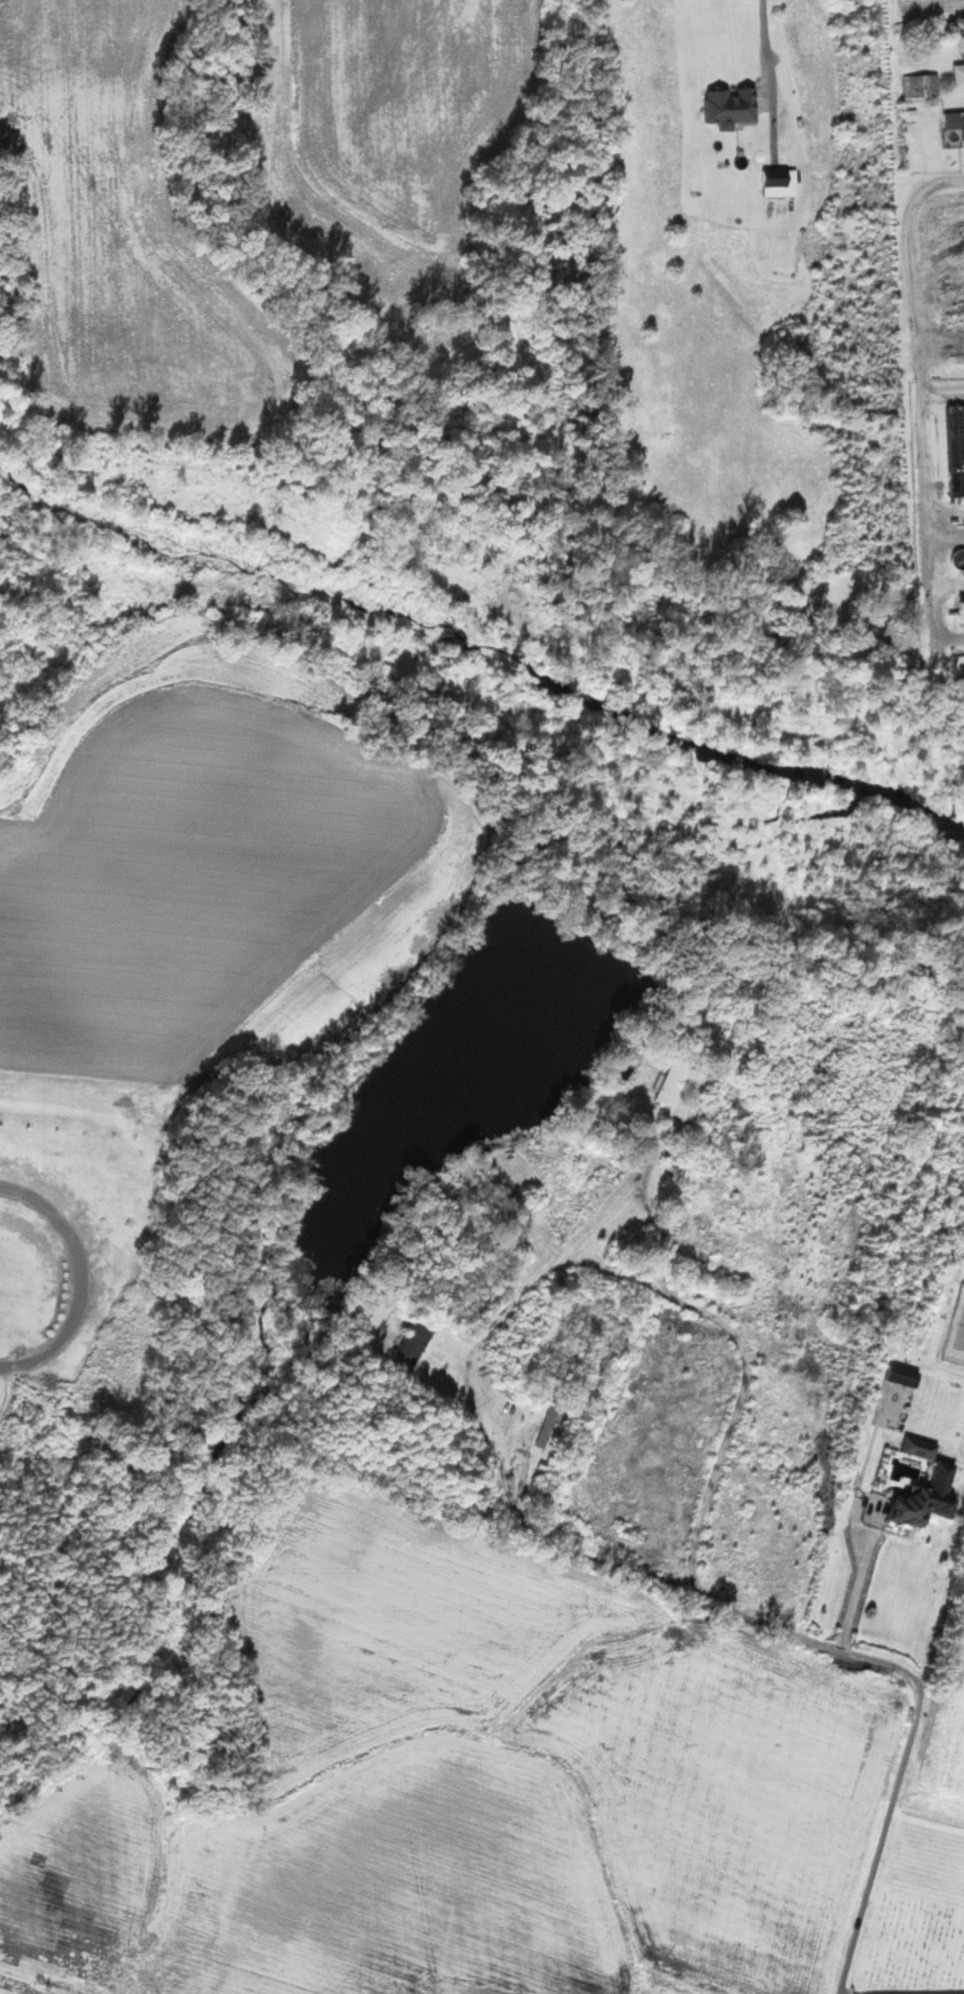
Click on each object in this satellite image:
building: (960, 75)
road: (768, 79)
building: (923, 85)
building: (734, 107)
building: (955, 119)
road: (922, 392)
building: (676, 1081)
building: (536, 1200)
road: (76, 1278)
building: (416, 1343)
building: (550, 1423)
building: (923, 1447)
building: (916, 1506)
road: (860, 1583)
road: (744, 1616)

